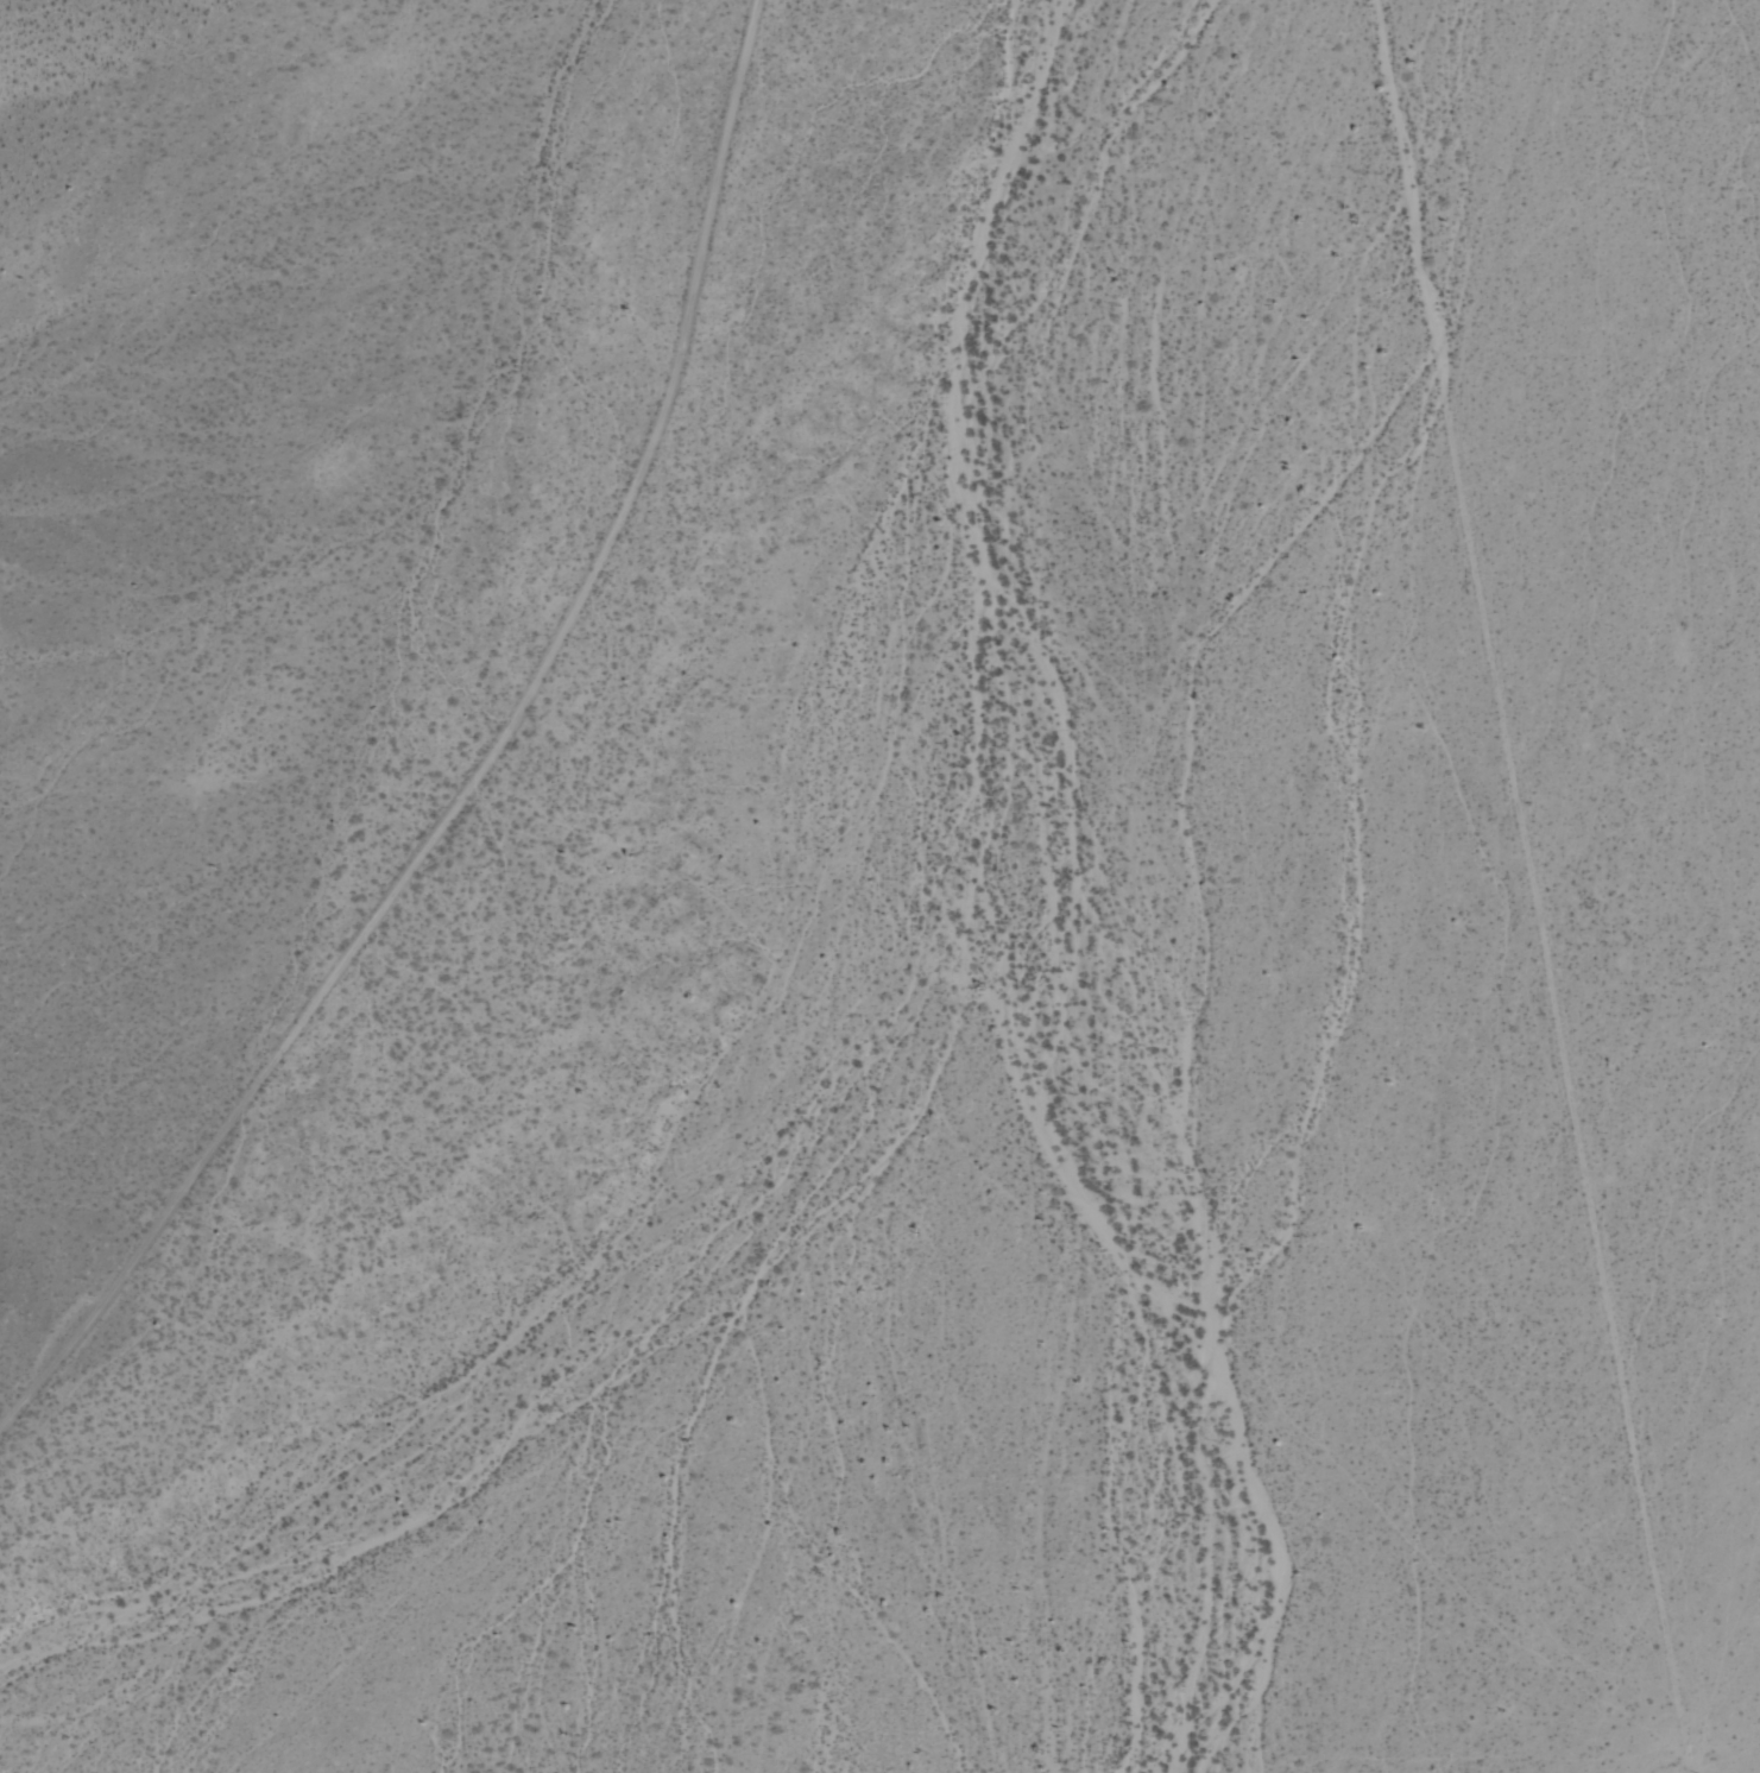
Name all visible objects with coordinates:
road: (481, 766)

